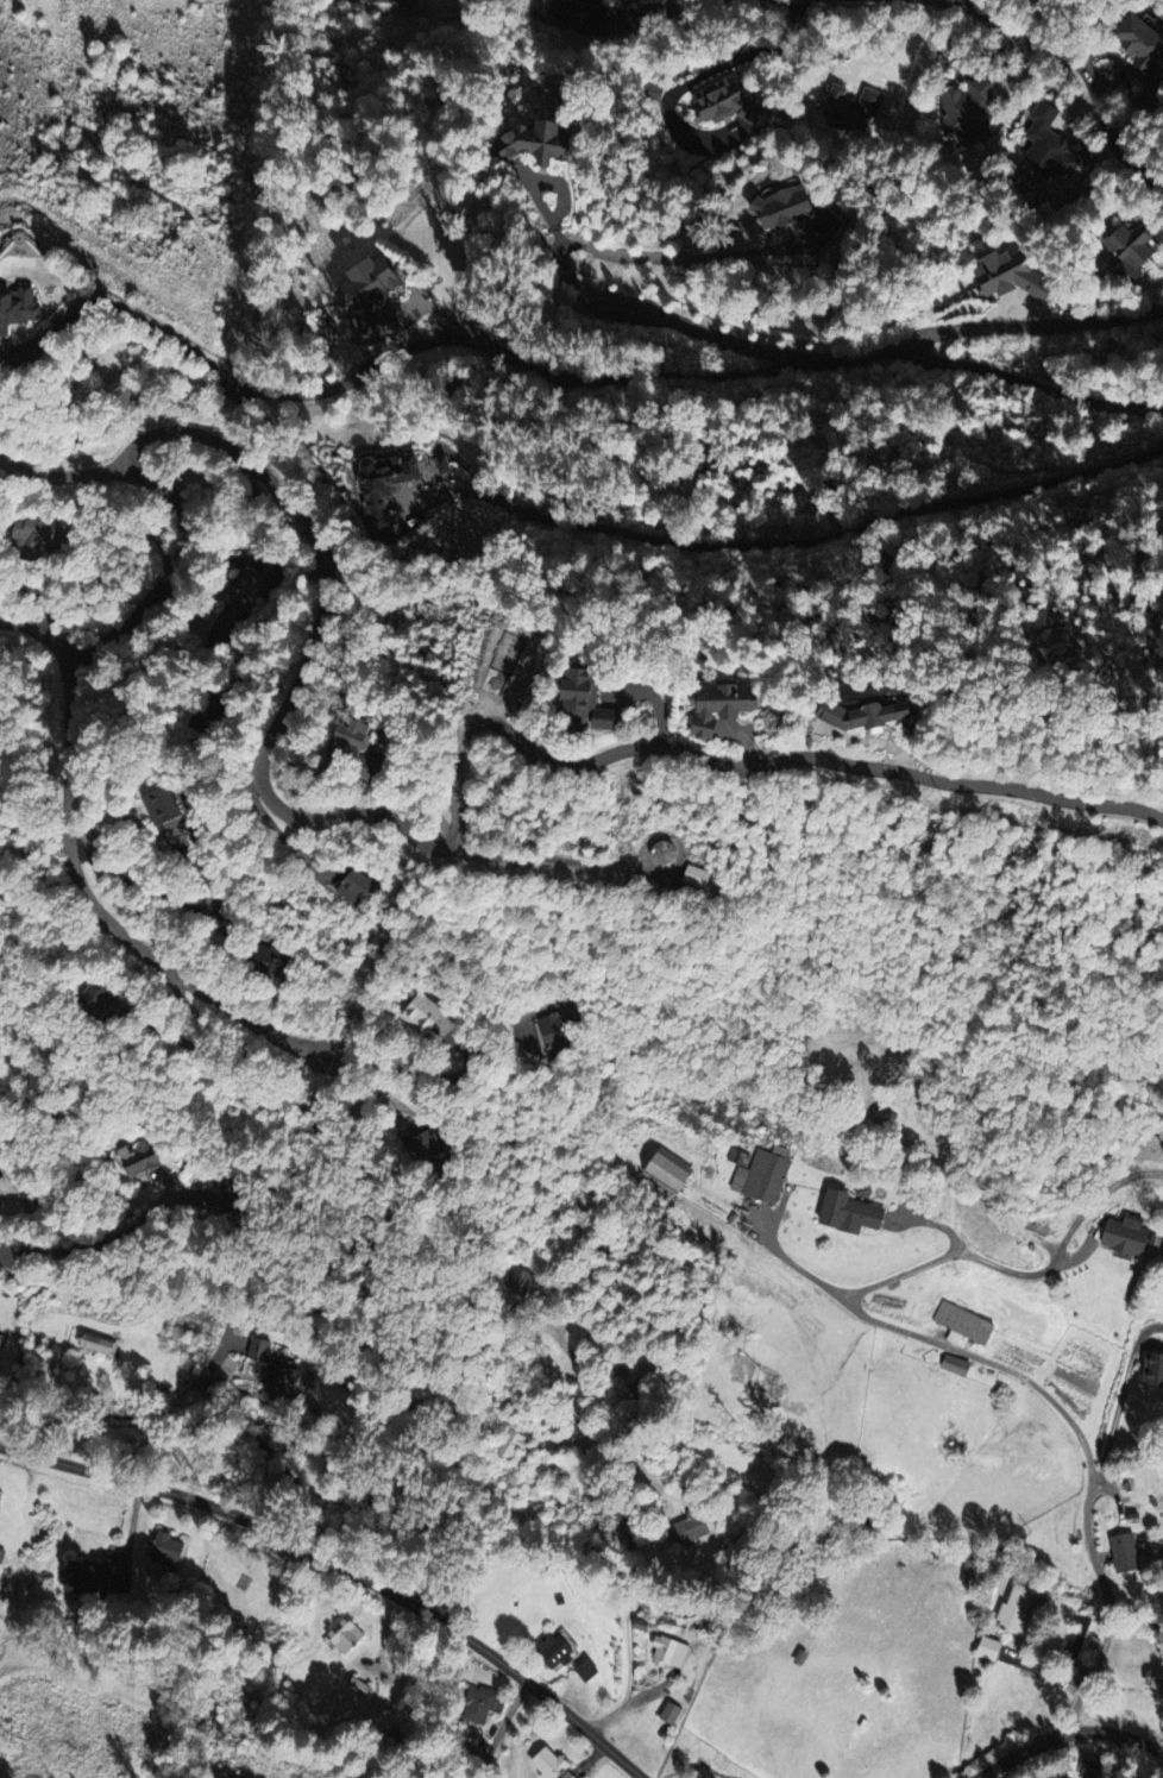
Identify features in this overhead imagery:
building: (397, 2)
building: (580, 14)
building: (1138, 40)
road: (910, 52)
road: (1076, 68)
road: (698, 76)
building: (724, 103)
building: (845, 108)
building: (962, 109)
building: (535, 142)
building: (1044, 145)
building: (786, 211)
building: (1125, 249)
road: (685, 255)
building: (354, 291)
building: (25, 308)
road: (379, 359)
road: (817, 360)
road: (1030, 387)
road: (59, 473)
building: (379, 489)
building: (33, 534)
road: (790, 540)
building: (253, 588)
road: (39, 596)
building: (554, 700)
building: (696, 708)
building: (207, 715)
building: (838, 716)
building: (346, 746)
building: (163, 805)
road: (333, 821)
building: (693, 875)
building: (359, 887)
road: (166, 899)
road: (102, 917)
building: (272, 960)
building: (98, 993)
building: (426, 1013)
building: (558, 1033)
building: (426, 1151)
building: (137, 1161)
building: (671, 1174)
building: (763, 1174)
building: (233, 1195)
building: (851, 1212)
building: (1127, 1234)
road: (757, 1236)
road: (1069, 1236)
road: (89, 1246)
road: (909, 1270)
building: (518, 1280)
building: (962, 1325)
building: (0, 1334)
building: (98, 1343)
building: (956, 1365)
building: (1155, 1369)
building: (282, 1375)
building: (645, 1386)
road: (166, 1420)
building: (510, 1444)
road: (1087, 1452)
building: (1, 1496)
building: (690, 1527)
road: (631, 1532)
building: (166, 1551)
building: (1125, 1552)
building: (1, 1553)
road: (346, 1562)
building: (968, 1572)
building: (1014, 1610)
building: (346, 1635)
building: (988, 1648)
building: (557, 1651)
building: (669, 1652)
building: (587, 1670)
building: (1155, 1679)
building: (359, 1685)
building: (484, 1704)
building: (671, 1713)
road: (499, 1728)
road: (1065, 1730)
road: (1119, 1754)
building: (552, 1765)
building: (1093, 1765)

